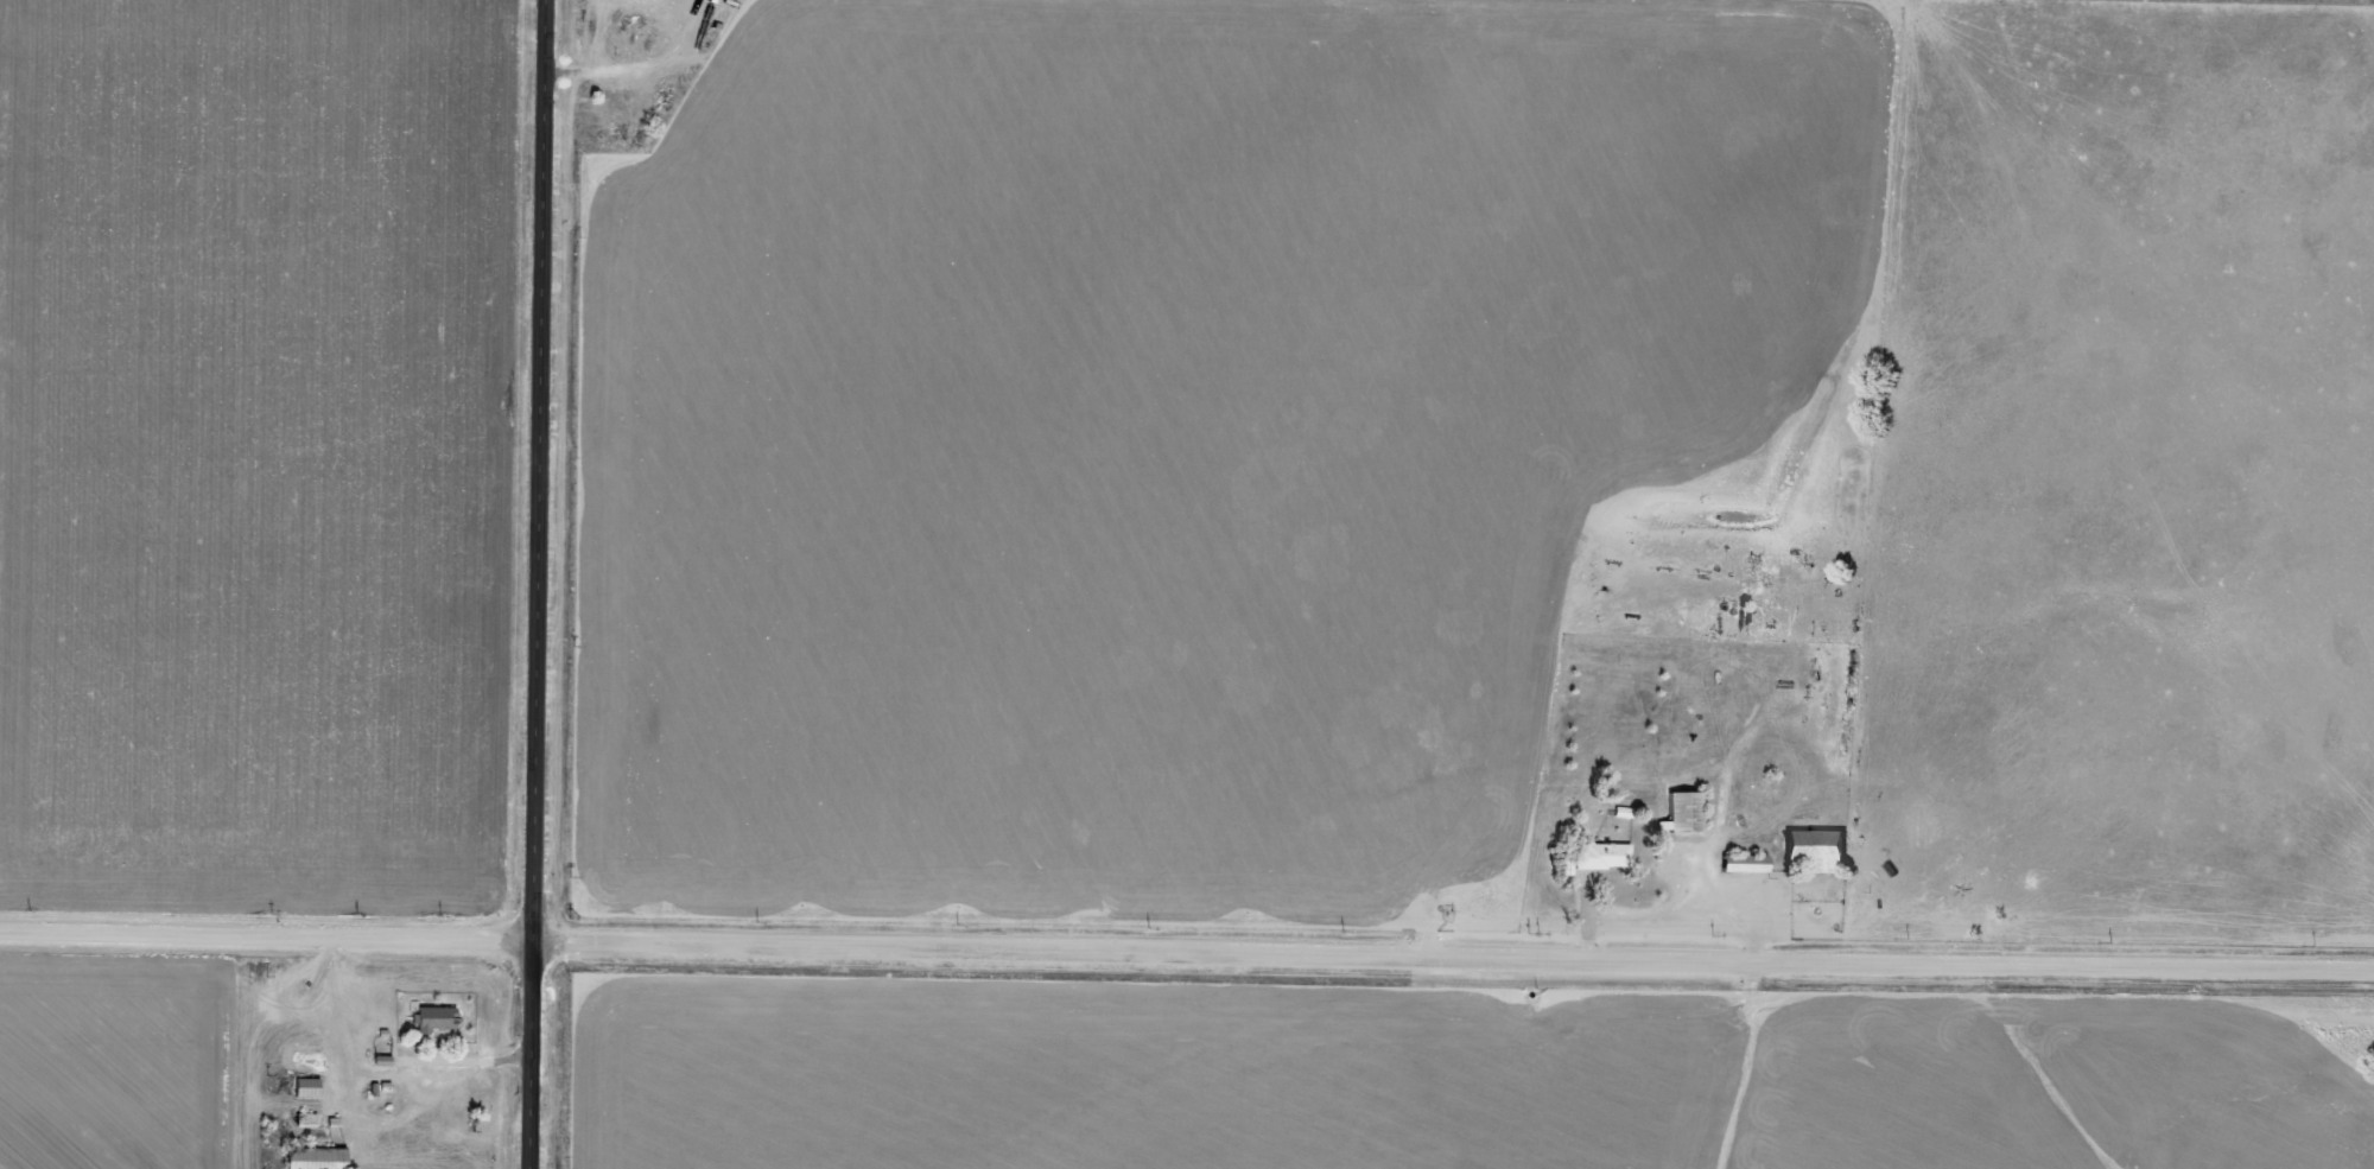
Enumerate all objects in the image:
road: (541, 584)
building: (1683, 812)
building: (1816, 851)
building: (1599, 857)
building: (1745, 863)
road: (1187, 946)

